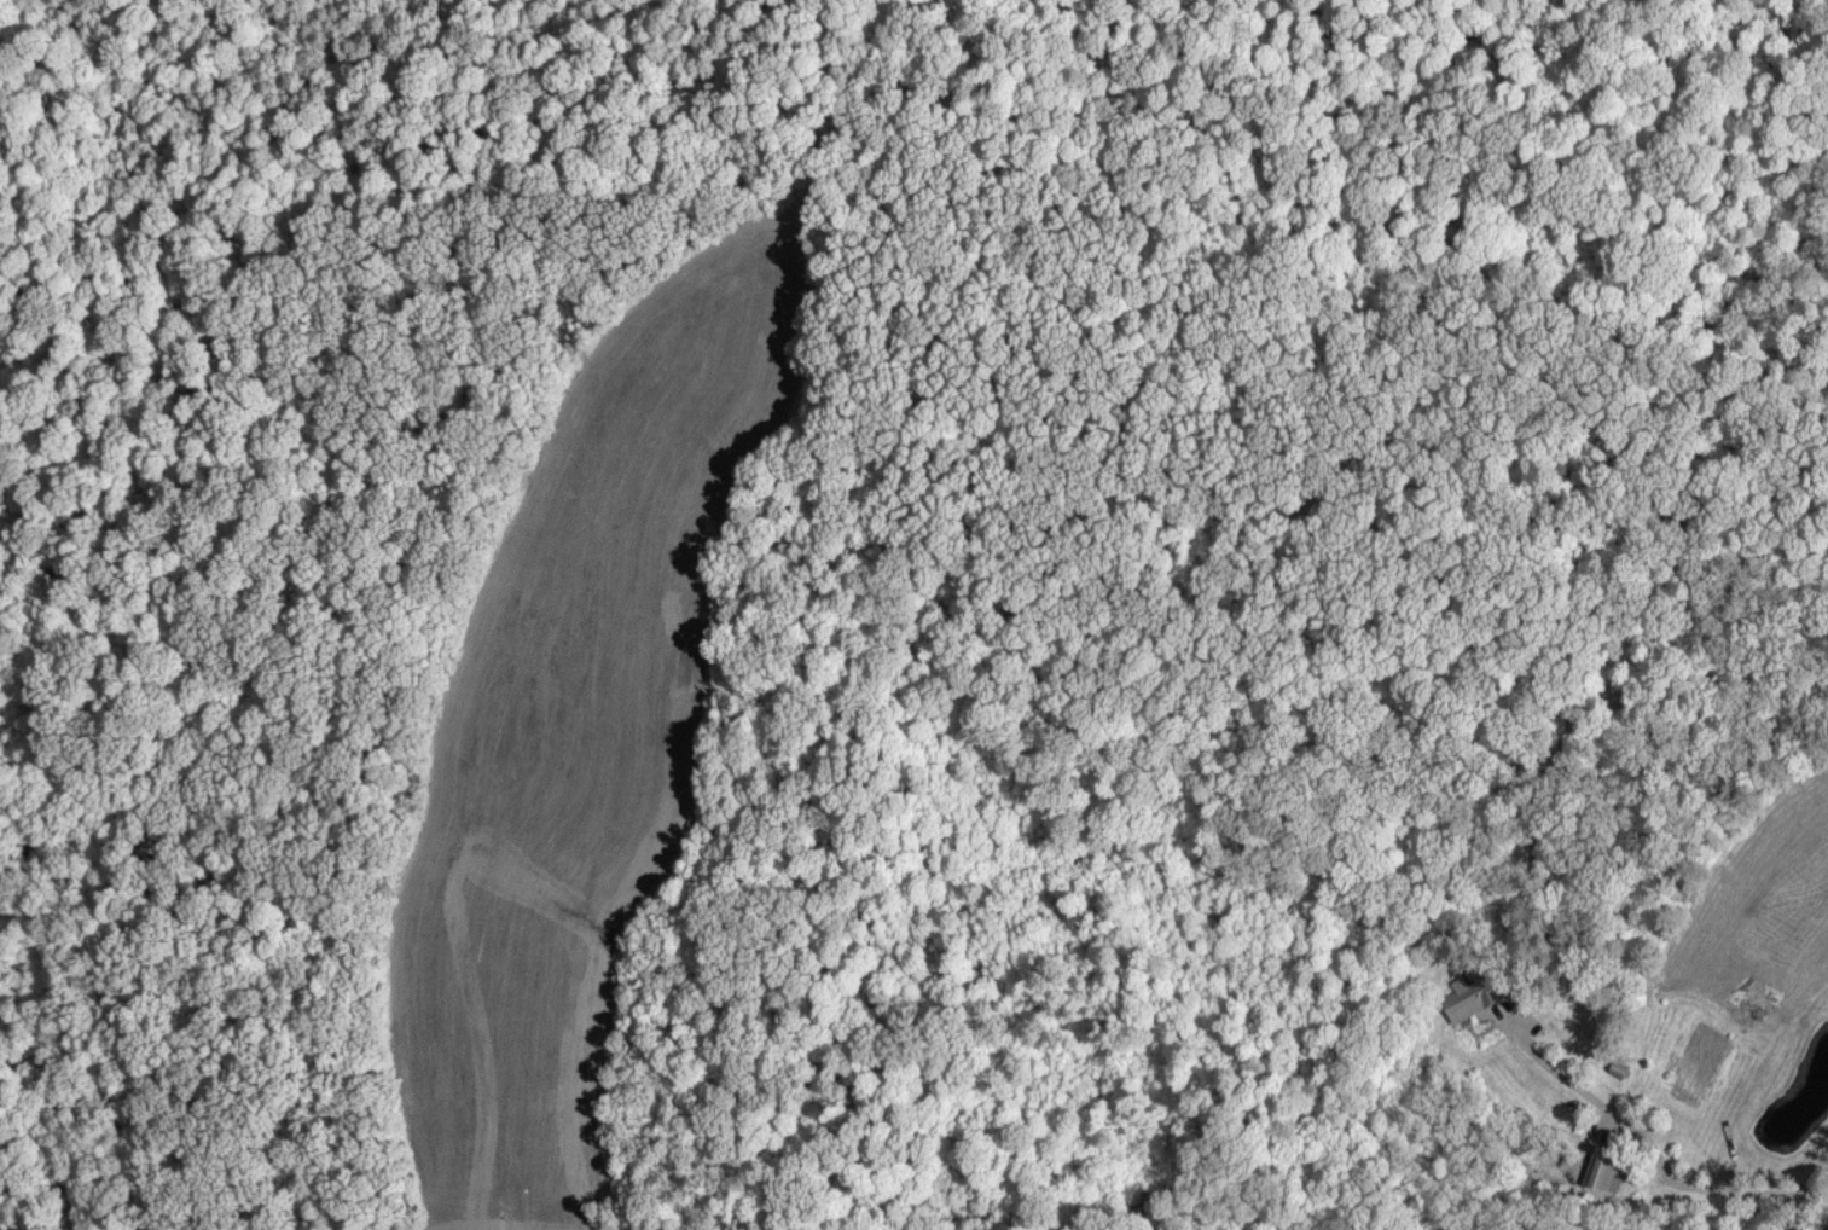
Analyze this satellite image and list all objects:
building: (1468, 1002)
building: (1608, 1176)

